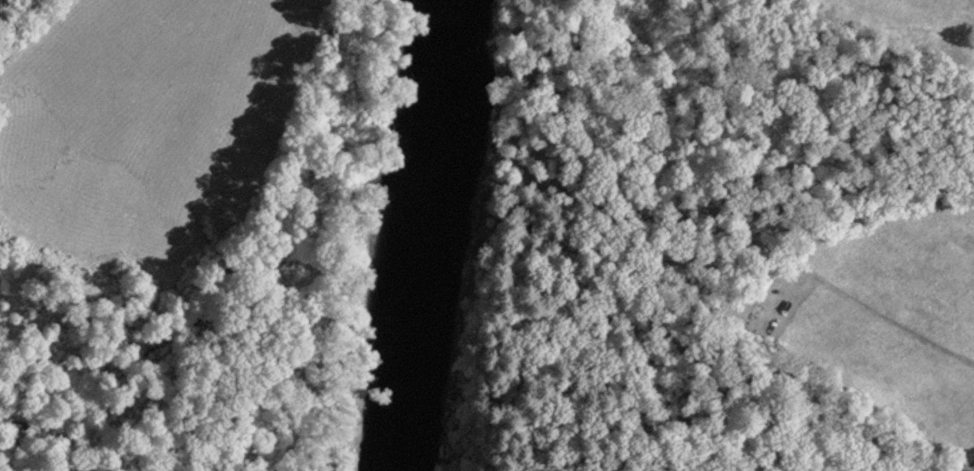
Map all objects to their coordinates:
crop: (913, 27)
river: (419, 234)
road: (803, 281)
crop: (886, 320)

